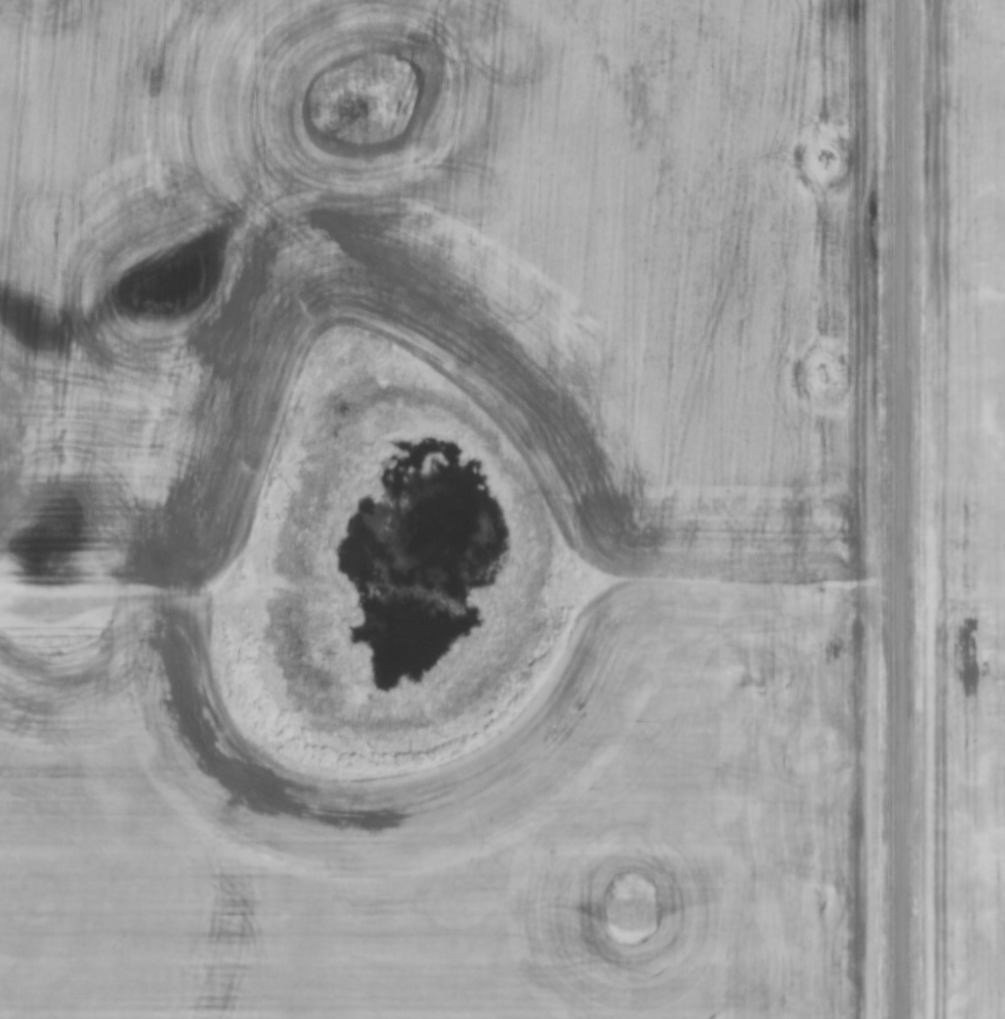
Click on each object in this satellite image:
road: (900, 509)

